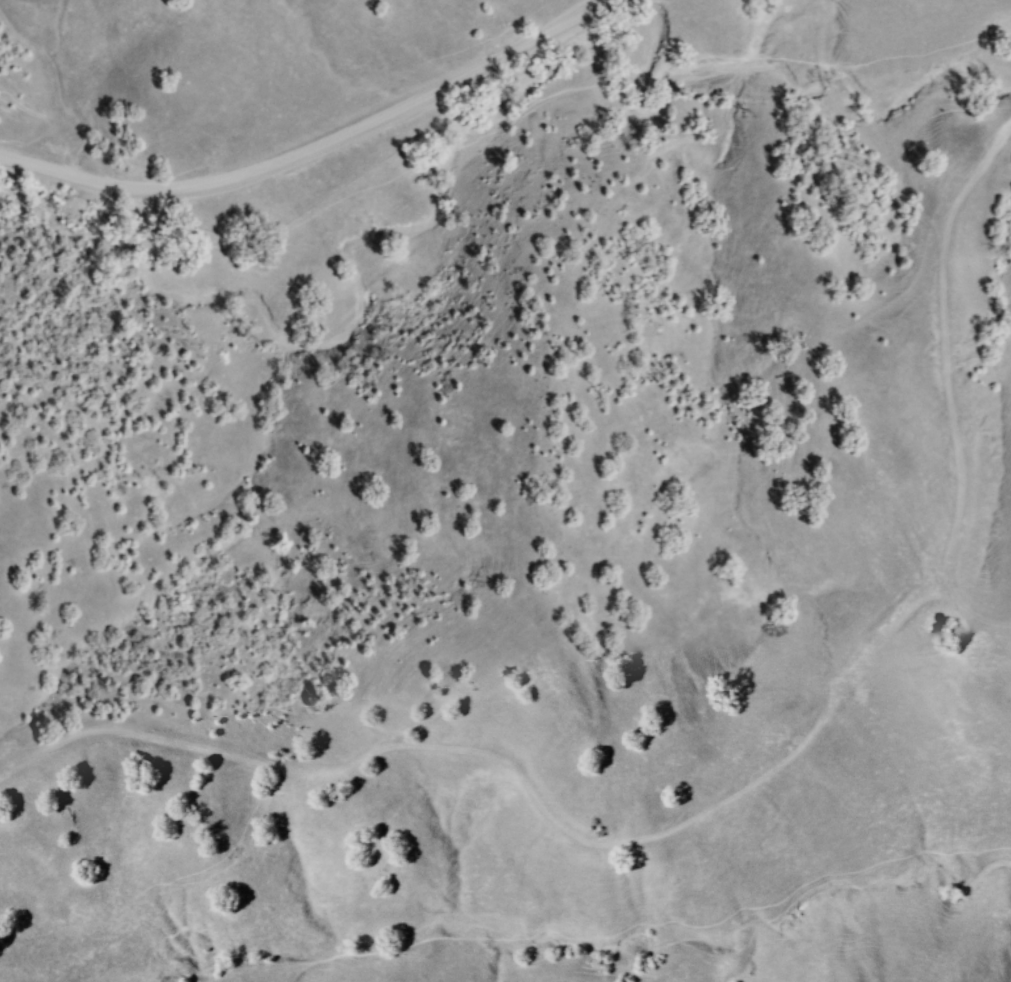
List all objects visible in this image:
road: (321, 147)

